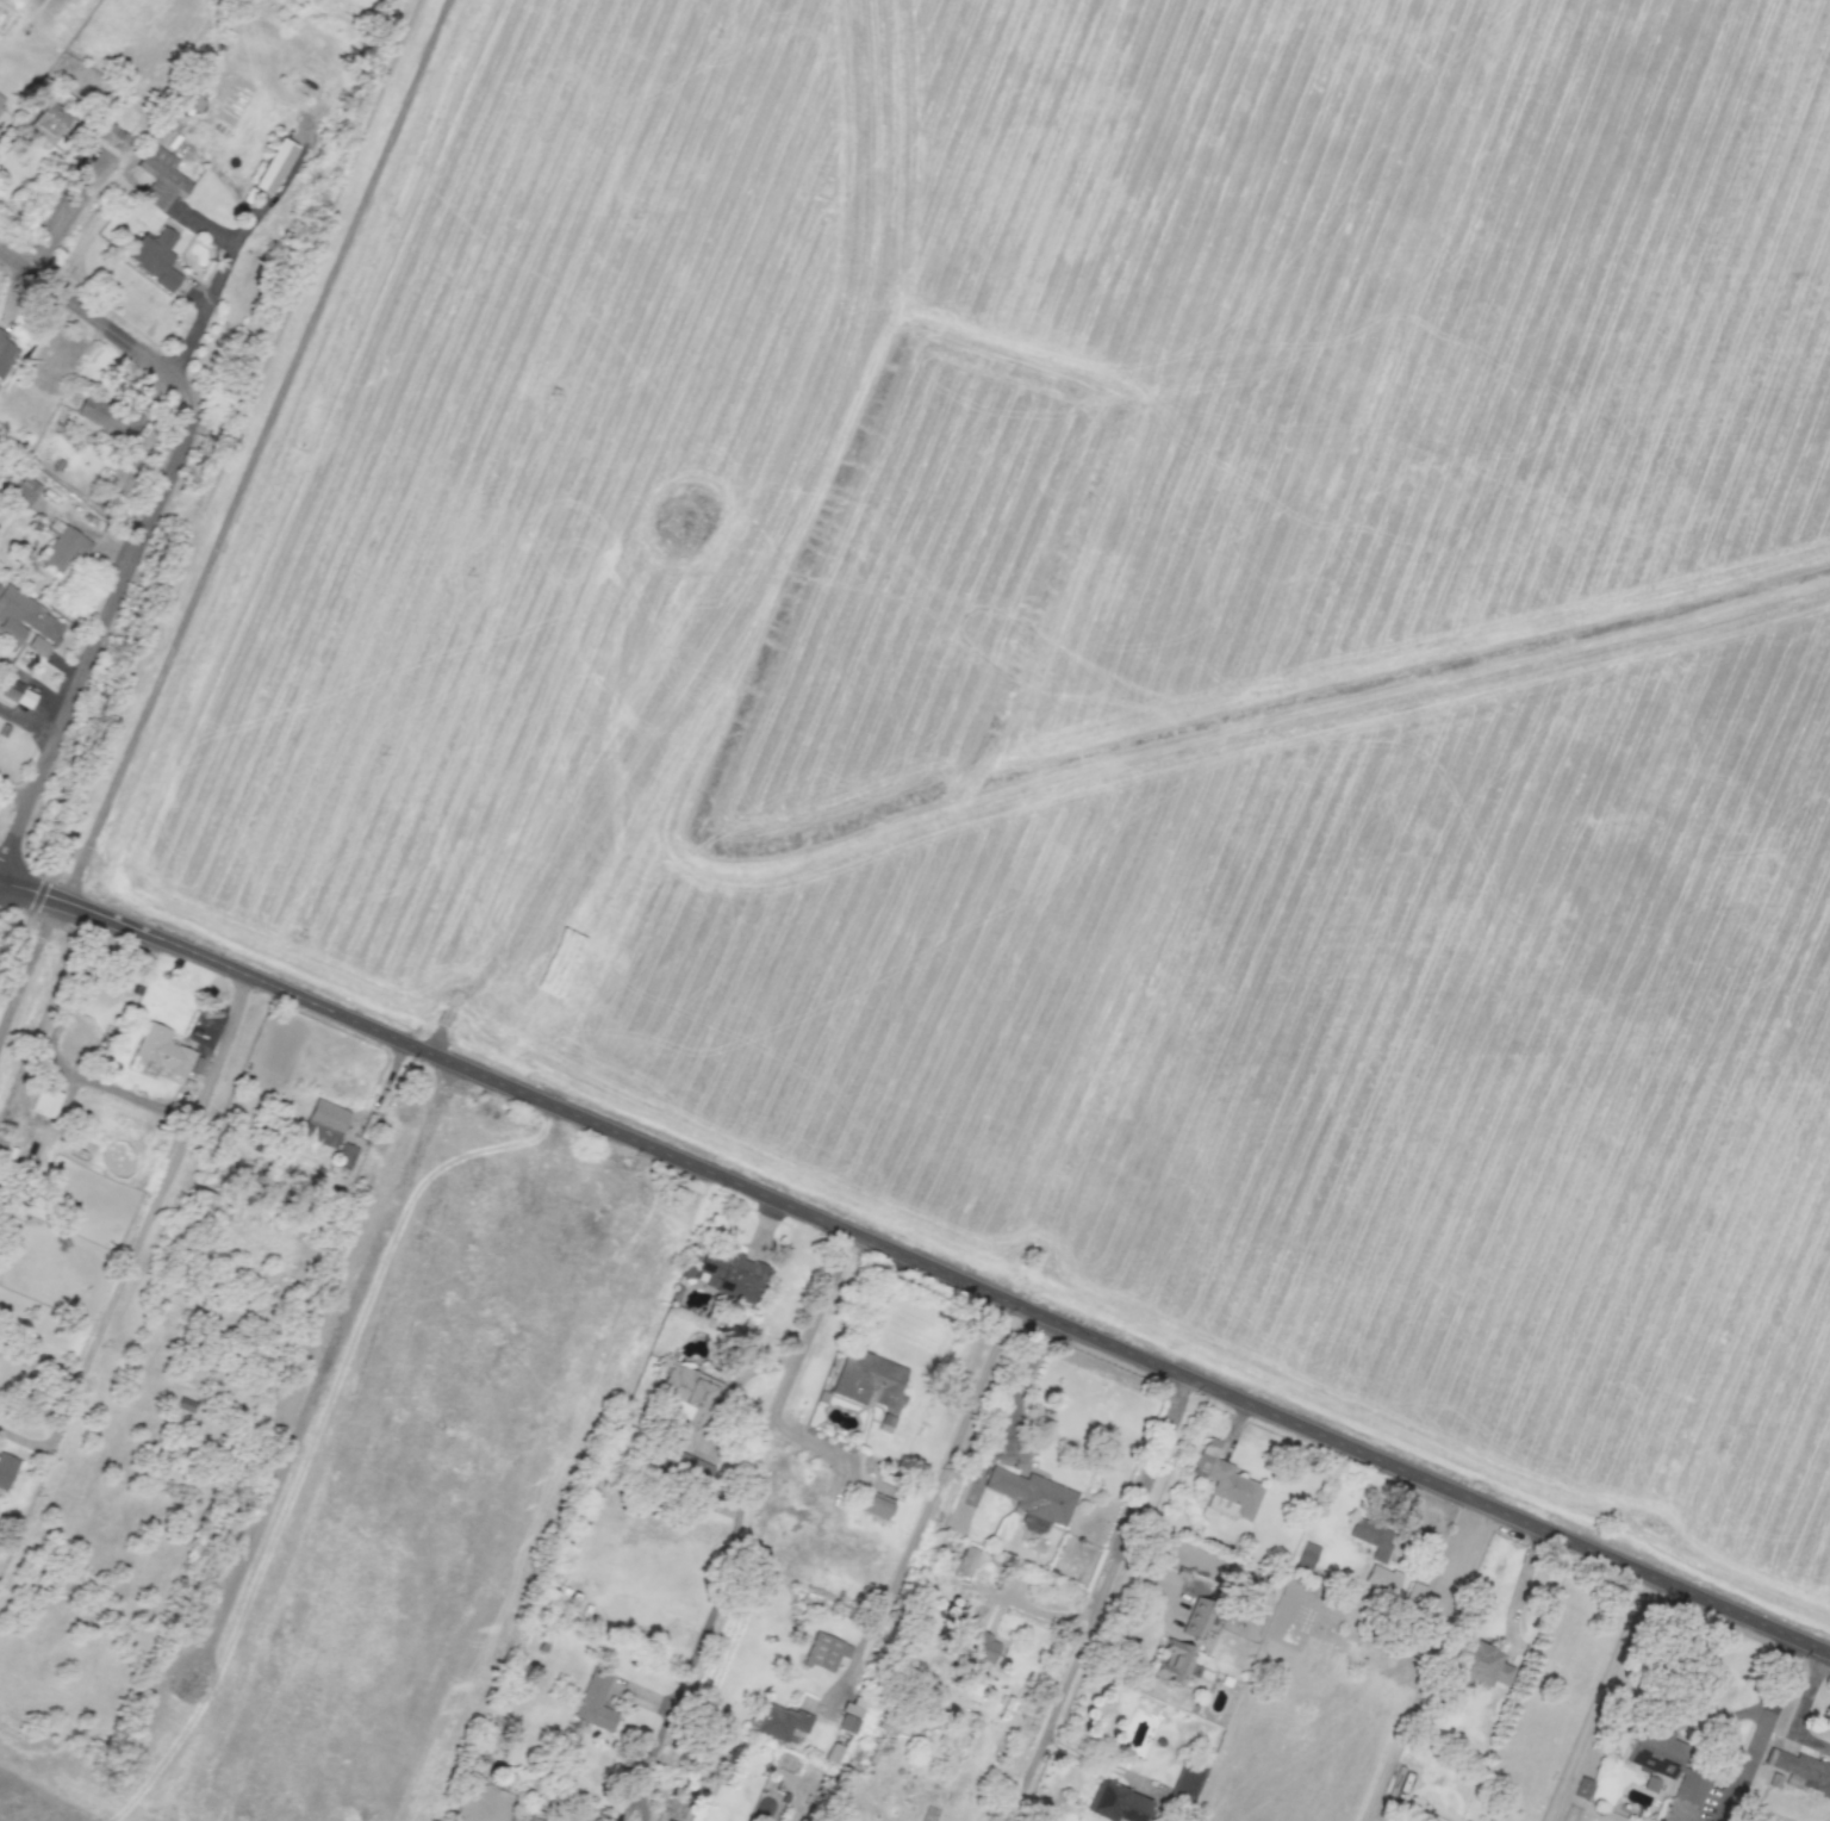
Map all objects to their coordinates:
building: (1, 101)
building: (124, 117)
building: (46, 122)
building: (111, 137)
building: (275, 162)
building: (161, 174)
road: (273, 194)
road: (62, 210)
building: (156, 255)
road: (219, 274)
road: (98, 322)
building: (5, 353)
building: (106, 417)
building: (23, 490)
road: (223, 515)
road: (224, 523)
building: (62, 546)
building: (27, 622)
road: (98, 641)
road: (1263, 647)
building: (17, 694)
road: (27, 723)
building: (162, 1051)
road: (201, 1092)
building: (44, 1101)
building: (323, 1123)
building: (344, 1156)
road: (916, 1260)
building: (729, 1273)
road: (88, 1354)
road: (1021, 1382)
building: (870, 1384)
building: (689, 1386)
building: (686, 1467)
building: (5, 1471)
building: (1226, 1479)
building: (1033, 1497)
road: (930, 1499)
road: (742, 1504)
building: (874, 1506)
building: (1371, 1536)
building: (1307, 1552)
building: (965, 1560)
building: (1381, 1579)
building: (1415, 1591)
road: (1098, 1599)
building: (1195, 1617)
building: (977, 1645)
building: (824, 1652)
building: (1174, 1661)
building: (1479, 1664)
road: (1648, 1695)
road: (1598, 1697)
building: (595, 1701)
road: (1803, 1707)
building: (780, 1721)
road: (1761, 1729)
building: (833, 1752)
building: (1664, 1759)
building: (1805, 1767)
building: (1184, 1782)
building: (1581, 1788)
building: (1115, 1800)
building: (534, 1815)
road: (1592, 1820)

